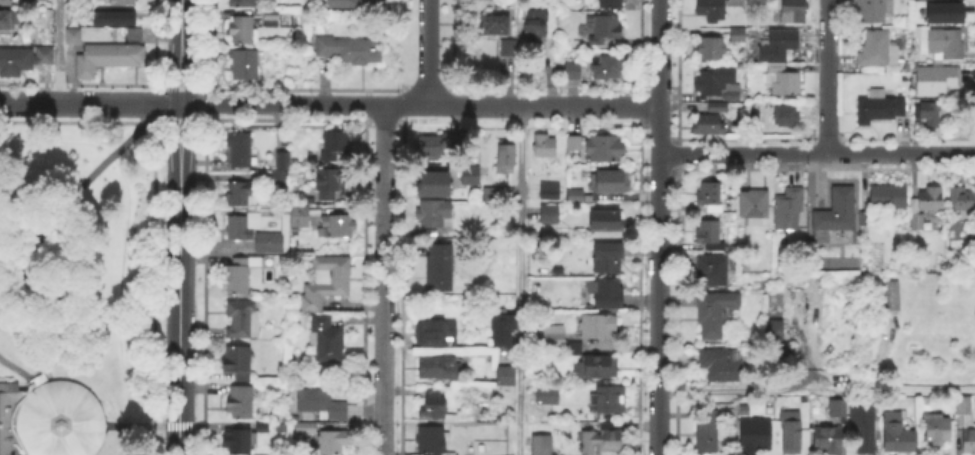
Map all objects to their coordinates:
building: (3, 1)
building: (120, 1)
building: (612, 3)
building: (757, 3)
building: (242, 4)
building: (352, 4)
building: (716, 9)
building: (875, 10)
building: (943, 11)
building: (792, 12)
building: (110, 16)
building: (272, 16)
building: (10, 19)
building: (495, 27)
building: (534, 27)
building: (602, 31)
building: (132, 32)
building: (240, 33)
building: (71, 34)
building: (737, 36)
building: (940, 44)
building: (778, 47)
building: (508, 50)
building: (711, 50)
road: (59, 51)
building: (350, 51)
road: (304, 52)
road: (429, 52)
road: (551, 52)
road: (660, 52)
building: (877, 54)
building: (106, 55)
building: (22, 57)
building: (244, 67)
building: (607, 70)
building: (573, 73)
road: (829, 77)
building: (782, 81)
building: (937, 81)
building: (718, 85)
road: (191, 103)
road: (406, 104)
road: (544, 105)
building: (717, 108)
building: (880, 108)
building: (928, 112)
building: (786, 116)
building: (754, 119)
building: (708, 126)
road: (660, 129)
building: (441, 145)
building: (543, 147)
building: (574, 147)
building: (335, 149)
building: (239, 151)
building: (604, 151)
building: (507, 153)
road: (817, 154)
building: (282, 164)
building: (467, 174)
road: (88, 176)
building: (279, 182)
building: (430, 182)
building: (615, 182)
building: (327, 184)
building: (550, 190)
building: (239, 195)
building: (577, 195)
building: (889, 196)
building: (492, 197)
building: (709, 200)
building: (961, 200)
building: (930, 201)
building: (754, 208)
building: (788, 211)
building: (432, 215)
building: (550, 215)
building: (834, 215)
building: (300, 218)
building: (866, 219)
building: (917, 223)
building: (605, 226)
building: (974, 226)
road: (179, 227)
building: (241, 228)
building: (338, 229)
building: (710, 238)
building: (275, 241)
building: (605, 259)
building: (439, 269)
building: (712, 272)
building: (240, 277)
road: (383, 279)
road: (521, 280)
building: (326, 283)
park: (81, 284)
building: (889, 294)
building: (607, 295)
road: (658, 304)
building: (715, 313)
building: (242, 319)
building: (501, 328)
building: (774, 331)
building: (550, 333)
building: (592, 334)
building: (434, 336)
building: (325, 340)
building: (553, 342)
building: (237, 363)
building: (721, 368)
road: (20, 370)
building: (438, 370)
building: (597, 371)
building: (507, 376)
road: (816, 391)
building: (548, 398)
building: (241, 401)
building: (322, 403)
building: (608, 406)
building: (438, 411)
building: (837, 411)
building: (476, 413)
building: (50, 419)
building: (967, 424)
road: (133, 425)
road: (169, 425)
building: (263, 427)
building: (307, 427)
building: (863, 428)
building: (707, 429)
building: (791, 430)
building: (936, 432)
building: (898, 436)
building: (754, 437)
building: (829, 438)
building: (432, 439)
road: (124, 440)
building: (236, 440)
building: (603, 442)
building: (330, 443)
building: (541, 445)

